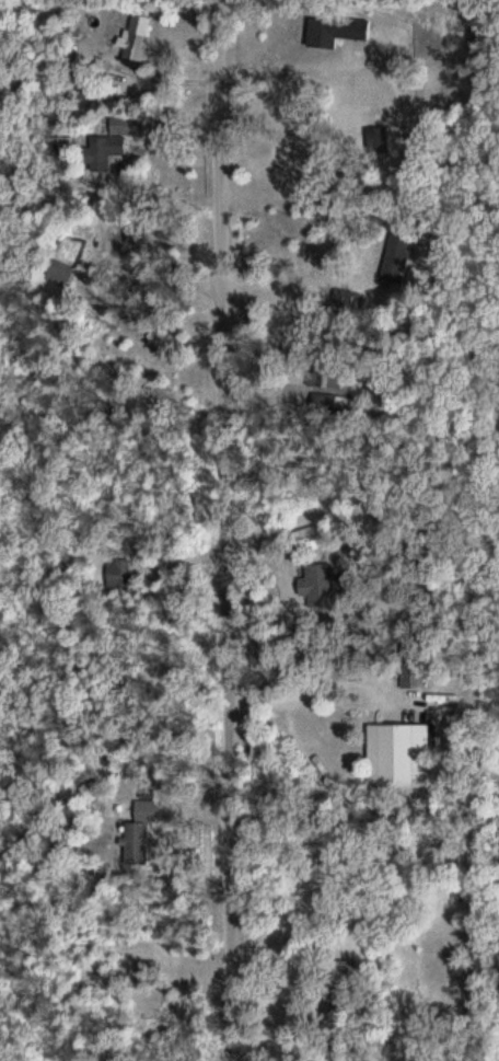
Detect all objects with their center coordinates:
building: (338, 32)
building: (139, 38)
building: (124, 125)
building: (100, 158)
road: (224, 530)
building: (311, 539)
building: (396, 757)

